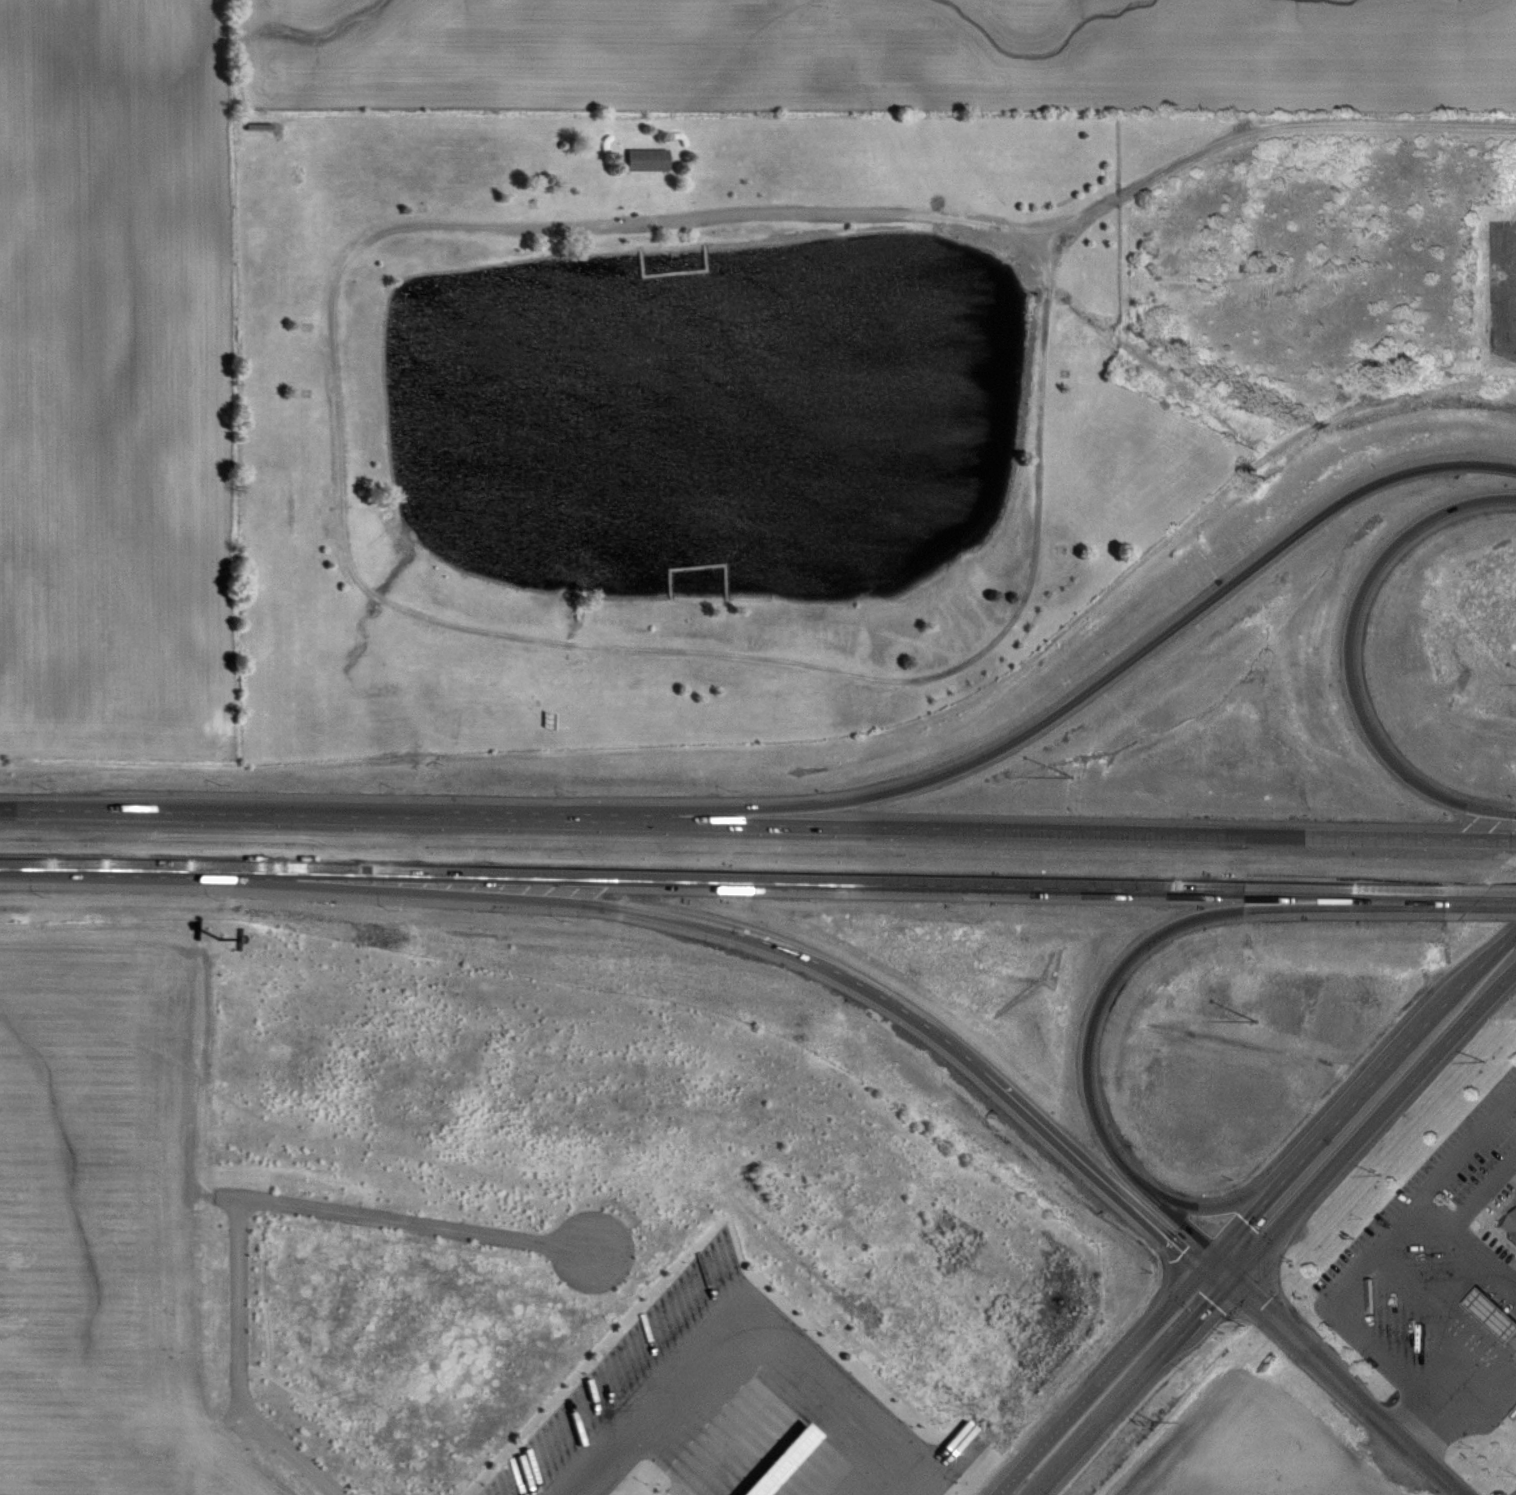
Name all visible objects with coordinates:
road: (1283, 127)
building: (652, 160)
road: (374, 593)
road: (1348, 654)
road: (1035, 729)
road: (757, 825)
road: (758, 880)
road: (746, 930)
road: (1117, 973)
road: (1361, 1107)
road: (1369, 1133)
road: (1232, 1203)
road: (248, 1205)
road: (1414, 1211)
road: (1440, 1216)
building: (1512, 1225)
road: (1468, 1242)
road: (1230, 1264)
road: (1501, 1278)
road: (1209, 1285)
parking lot: (1422, 1291)
building: (1492, 1315)
road: (744, 1327)
road: (1366, 1331)
road: (1101, 1384)
road: (1453, 1387)
road: (1493, 1387)
road: (1347, 1389)
parking lot: (740, 1395)
road: (1132, 1396)
building: (791, 1461)

